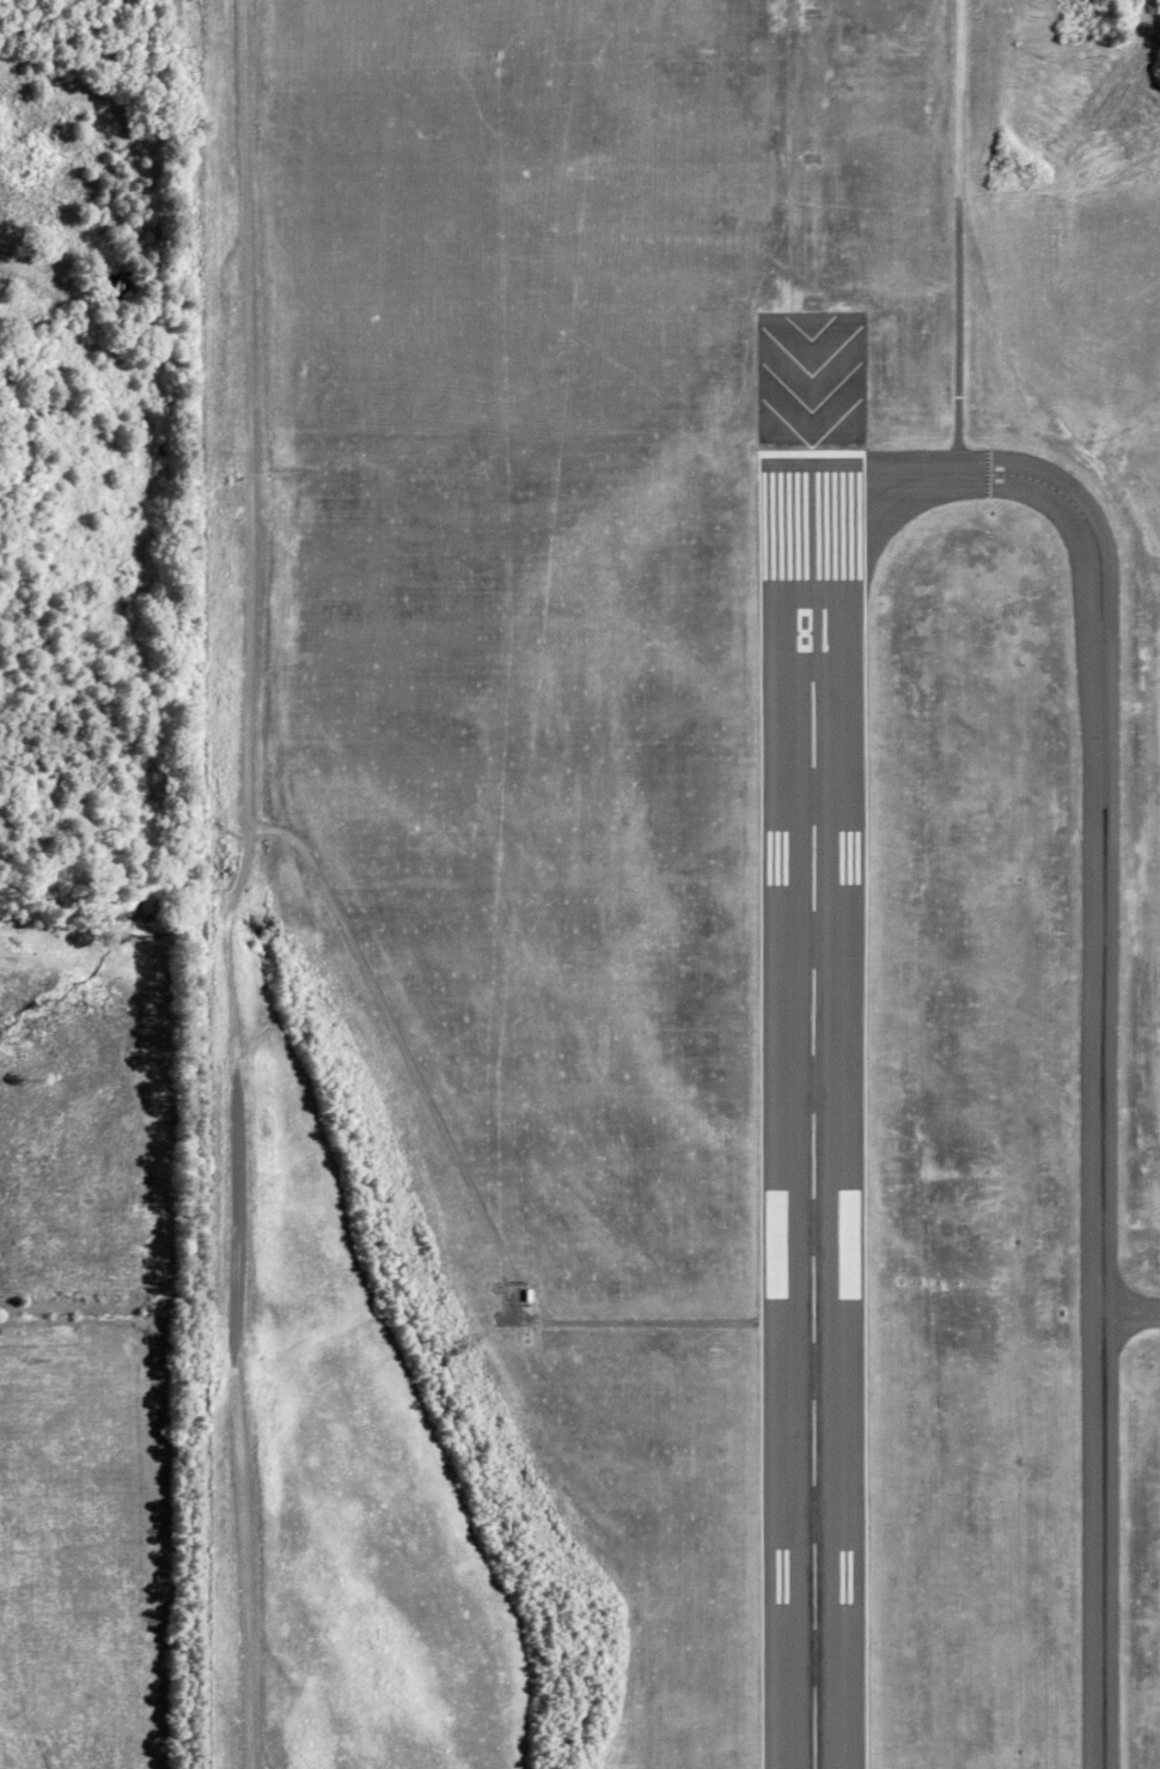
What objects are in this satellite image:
airport taxiway: (1100, 989)
airport runway: (816, 1046)
building: (776, 1208)
building: (851, 1209)
airport taxiway: (1131, 1312)
road: (245, 1666)

